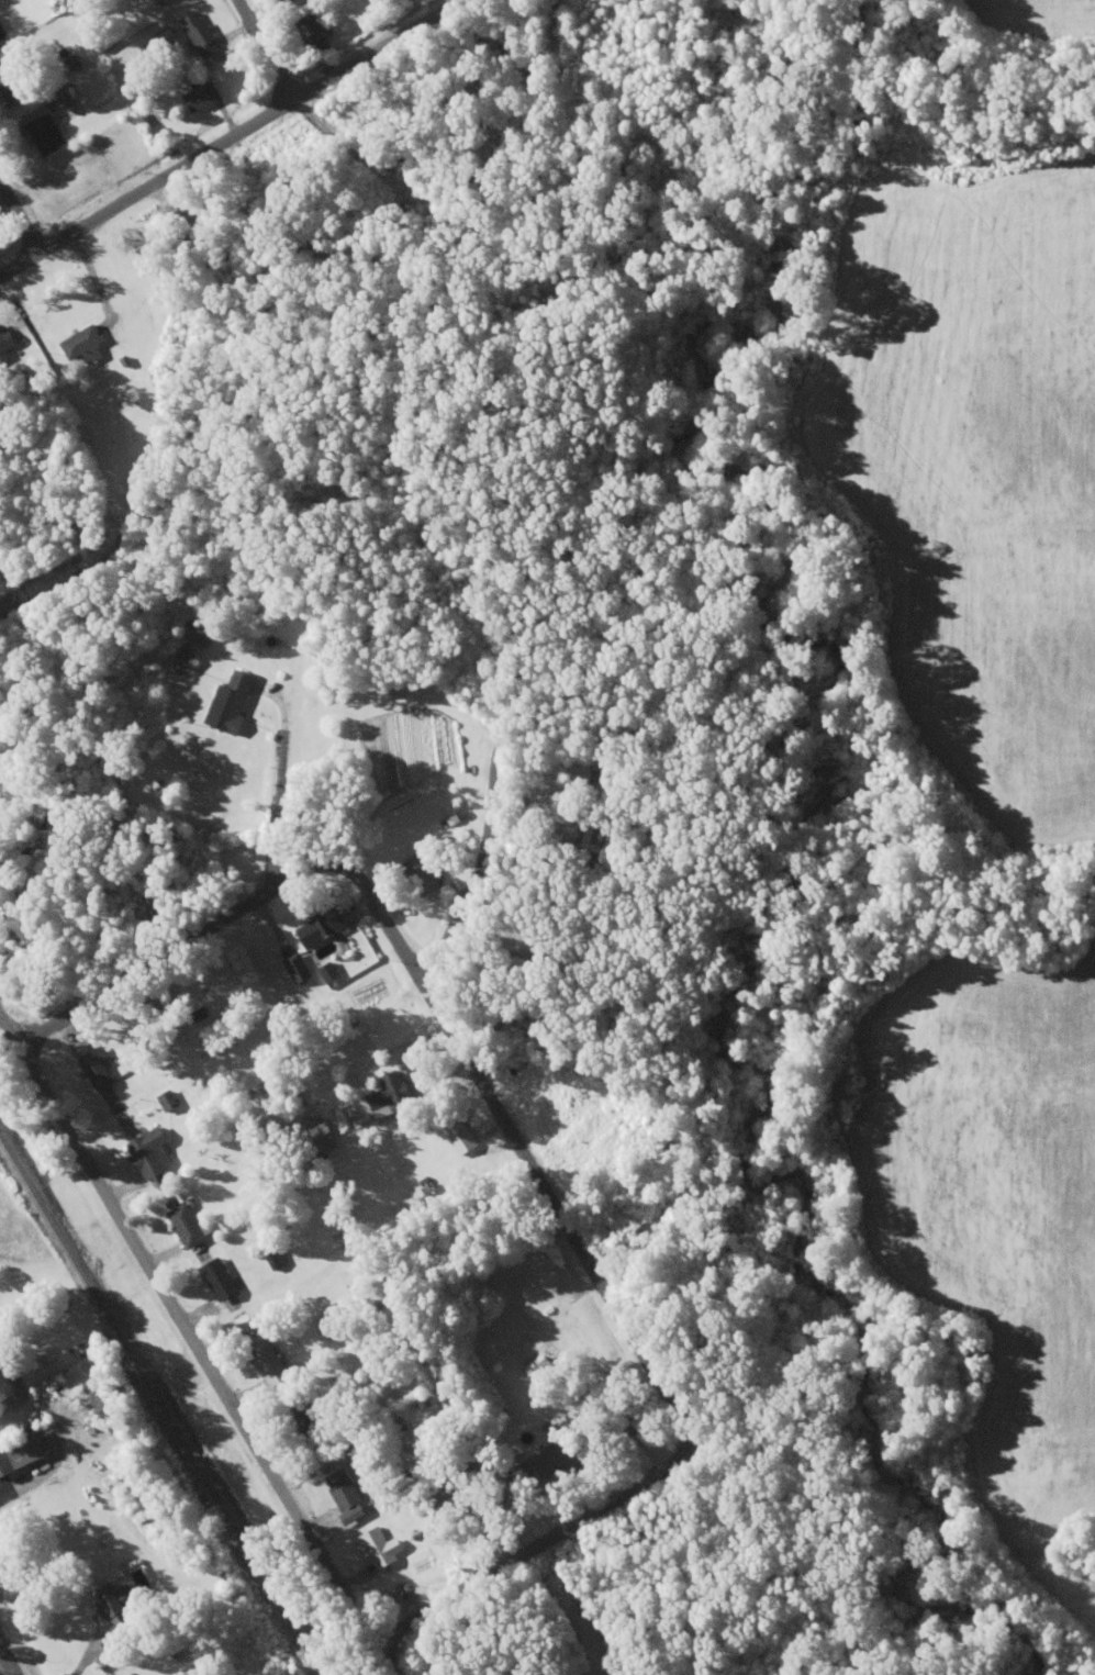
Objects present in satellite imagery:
building: (287, 1)
building: (157, 2)
building: (313, 33)
building: (200, 34)
building: (1, 37)
road: (264, 49)
building: (10, 81)
building: (202, 97)
building: (46, 134)
road: (231, 135)
road: (20, 211)
building: (4, 340)
building: (82, 346)
building: (201, 634)
building: (186, 657)
building: (235, 702)
road: (279, 795)
road: (458, 862)
building: (423, 874)
road: (153, 924)
building: (320, 928)
building: (94, 1071)
building: (388, 1096)
building: (167, 1102)
building: (460, 1136)
building: (321, 1137)
building: (153, 1153)
building: (188, 1226)
road: (546, 1275)
building: (219, 1280)
road: (174, 1305)
building: (332, 1327)
building: (0, 1342)
building: (268, 1363)
building: (546, 1373)
building: (102, 1399)
railway: (161, 1405)
building: (300, 1419)
building: (22, 1453)
building: (543, 1466)
building: (342, 1490)
building: (379, 1549)
building: (113, 1609)
road: (393, 1645)
road: (4, 1665)

